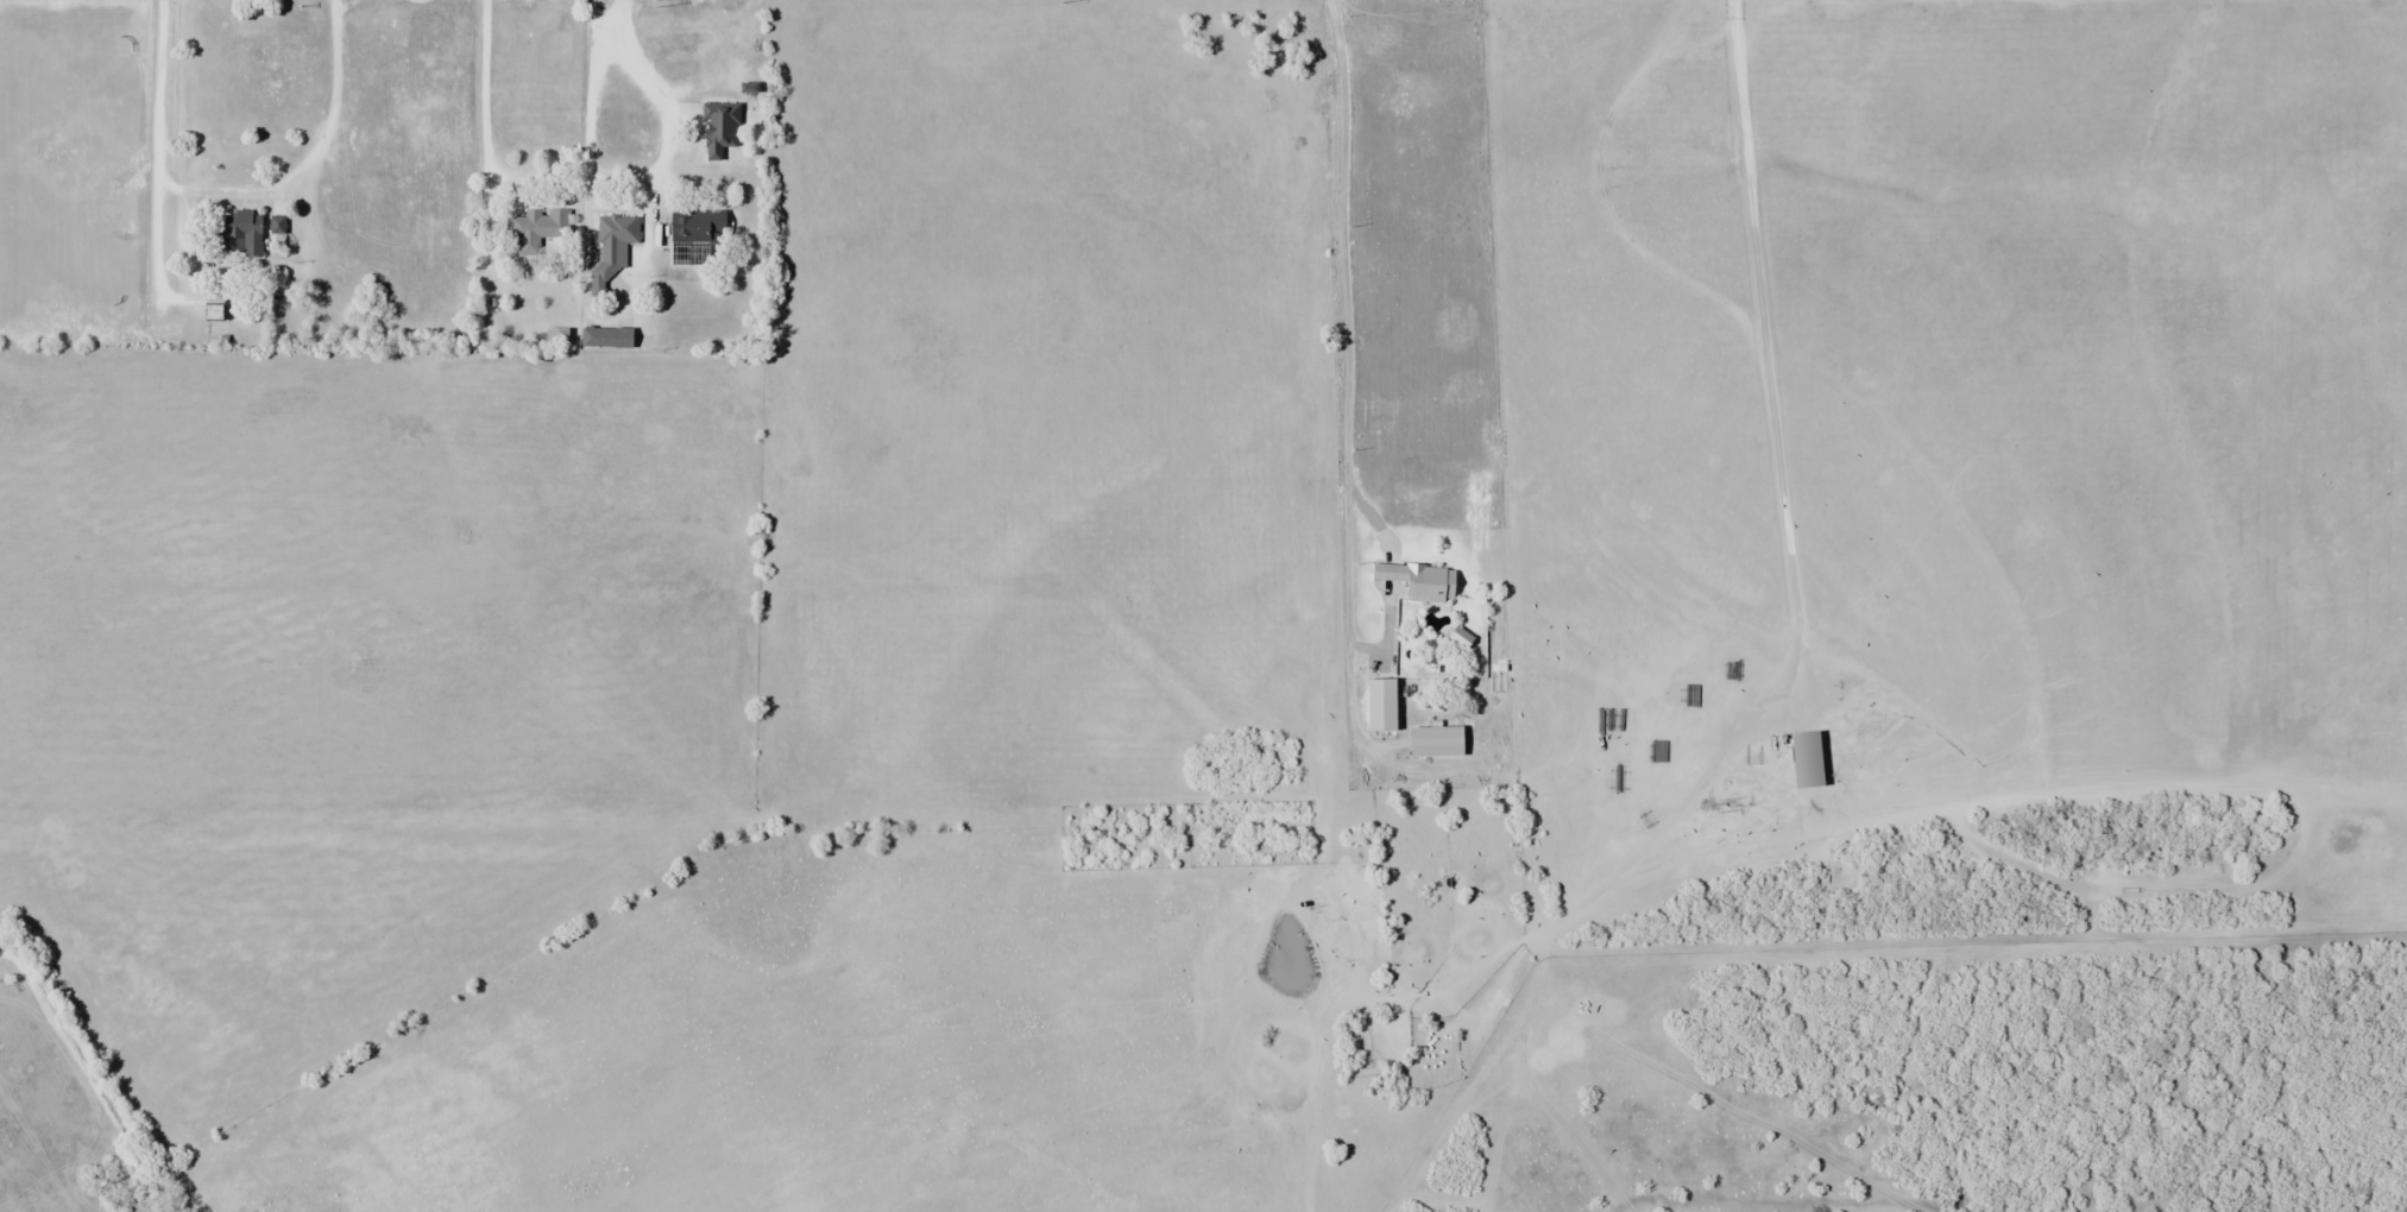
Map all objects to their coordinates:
power tower: (654, 2)
power tower: (256, 7)
road: (624, 13)
road: (486, 90)
building: (719, 128)
road: (638, 166)
road: (235, 187)
building: (278, 225)
building: (540, 226)
building: (241, 234)
building: (612, 246)
building: (214, 305)
building: (606, 336)
road: (1347, 436)
building: (1420, 581)
building: (1382, 705)
building: (1436, 741)
park: (63, 1107)

